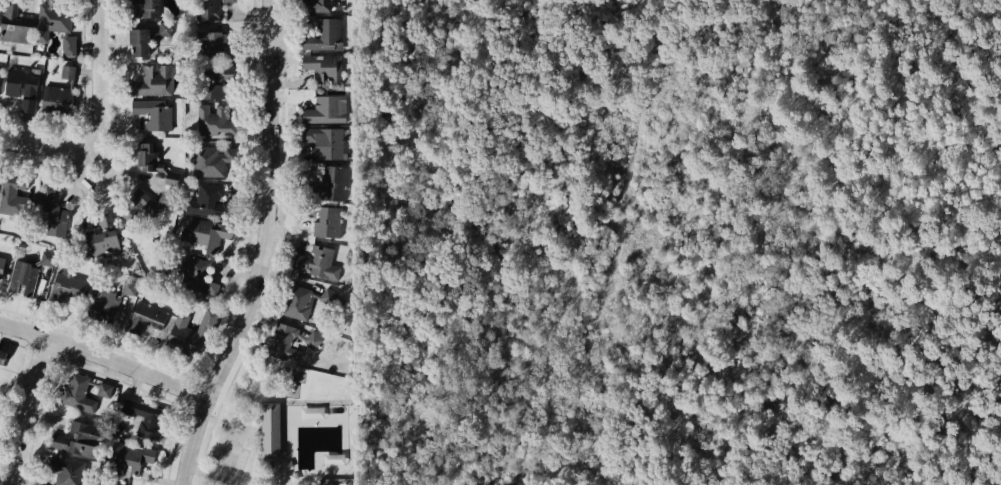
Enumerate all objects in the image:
building: (318, 5)
building: (148, 7)
road: (103, 8)
building: (210, 9)
building: (16, 28)
building: (165, 28)
building: (61, 31)
building: (321, 35)
building: (138, 40)
building: (213, 42)
building: (321, 69)
building: (0, 70)
building: (213, 80)
building: (153, 82)
road: (105, 85)
building: (21, 88)
building: (58, 93)
building: (320, 110)
building: (154, 113)
building: (215, 120)
building: (322, 140)
road: (42, 145)
road: (90, 158)
building: (211, 159)
building: (155, 163)
building: (326, 173)
building: (15, 197)
building: (209, 200)
building: (142, 203)
building: (52, 214)
building: (323, 219)
building: (203, 234)
building: (102, 235)
road: (260, 249)
building: (2, 264)
building: (318, 266)
building: (25, 275)
building: (195, 279)
building: (66, 289)
building: (327, 296)
building: (106, 301)
building: (296, 303)
building: (145, 316)
building: (188, 332)
building: (289, 342)
road: (104, 354)
building: (1, 355)
road: (239, 361)
building: (74, 390)
road: (236, 408)
road: (25, 410)
road: (217, 410)
building: (313, 413)
road: (254, 415)
road: (211, 416)
building: (145, 417)
road: (248, 420)
road: (258, 422)
park: (282, 422)
road: (252, 427)
building: (269, 429)
road: (232, 432)
road: (231, 436)
road: (235, 436)
road: (239, 436)
road: (242, 436)
building: (77, 437)
road: (224, 437)
road: (227, 437)
road: (228, 440)
road: (205, 441)
building: (133, 456)
parking lot: (227, 460)
road: (225, 462)
road: (198, 470)
road: (202, 471)
building: (62, 472)
road: (196, 480)
park: (199, 481)

